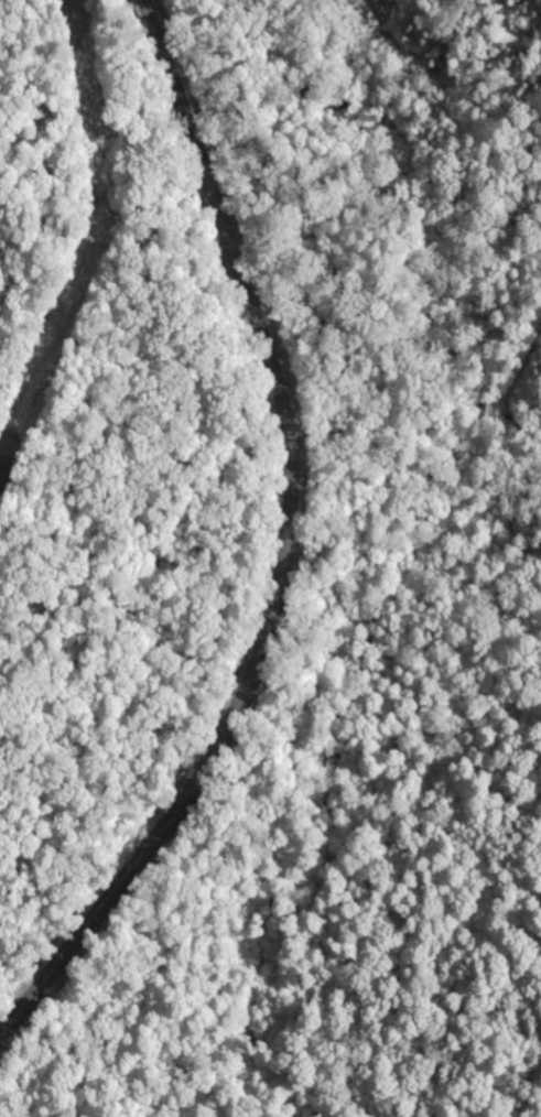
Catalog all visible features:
road: (288, 552)

